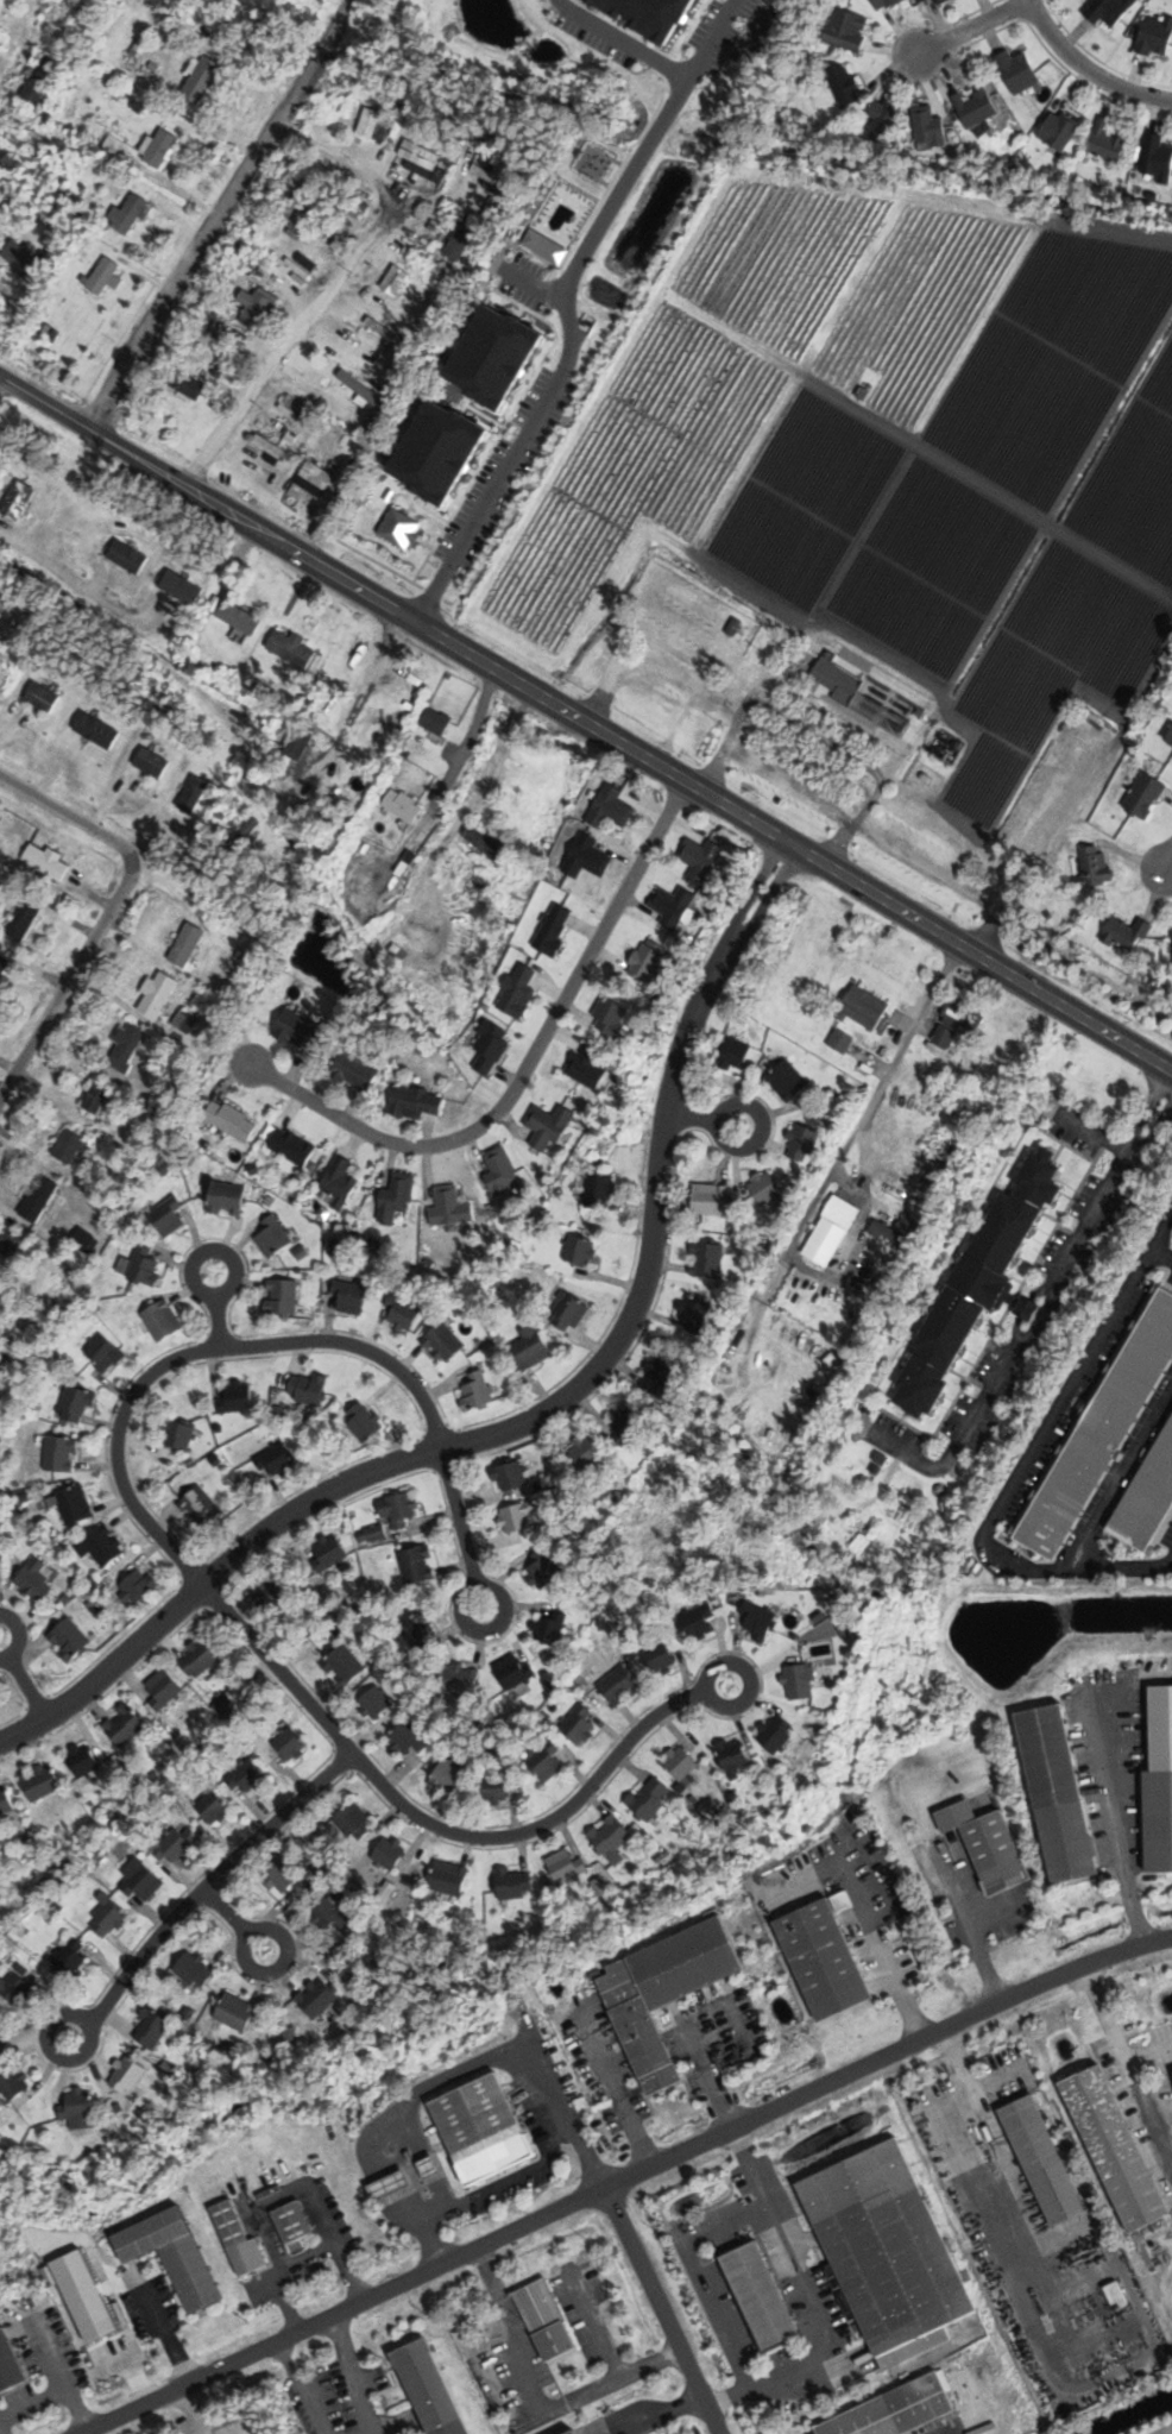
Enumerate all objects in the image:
building: (924, 1)
building: (939, 1)
parking lot: (746, 4)
building: (883, 4)
building: (1109, 11)
building: (637, 14)
building: (699, 26)
parking lot: (714, 26)
road: (975, 26)
building: (846, 30)
building: (1155, 36)
road: (615, 38)
building: (2, 39)
parking lot: (590, 39)
road: (17, 51)
road: (1089, 68)
building: (1017, 70)
building: (39, 80)
building: (203, 81)
building: (844, 84)
building: (975, 107)
building: (882, 121)
building: (368, 122)
building: (928, 128)
building: (1058, 130)
building: (1107, 141)
building: (159, 147)
building: (420, 155)
building: (1157, 159)
building: (561, 206)
building: (127, 214)
road: (218, 214)
building: (303, 218)
building: (459, 243)
building: (24, 262)
building: (103, 277)
building: (395, 281)
parking lot: (527, 281)
road: (324, 289)
road: (559, 306)
building: (259, 309)
building: (383, 332)
building: (187, 385)
building: (361, 391)
building: (440, 416)
building: (270, 447)
parking lot: (496, 472)
building: (316, 476)
building: (18, 502)
building: (127, 555)
building: (181, 586)
building: (2, 591)
building: (238, 616)
building: (291, 647)
building: (664, 666)
building: (853, 681)
building: (42, 697)
road: (600, 699)
road: (585, 724)
building: (434, 727)
parking lot: (779, 727)
building: (96, 729)
road: (819, 732)
building: (1170, 736)
building: (298, 743)
road: (499, 744)
building: (151, 762)
building: (193, 793)
building: (1143, 794)
building: (402, 805)
building: (610, 807)
road: (68, 822)
building: (484, 839)
road: (878, 839)
building: (586, 856)
building: (700, 858)
building: (44, 860)
building: (1094, 866)
road: (1170, 870)
building: (672, 906)
building: (24, 920)
building: (553, 929)
building: (1127, 933)
building: (187, 944)
building: (647, 960)
building: (2, 963)
road: (68, 979)
building: (517, 990)
building: (157, 994)
building: (865, 1006)
building: (610, 1015)
building: (957, 1021)
building: (297, 1030)
building: (840, 1040)
building: (125, 1046)
building: (489, 1046)
building: (735, 1054)
building: (586, 1067)
building: (354, 1071)
road: (528, 1073)
building: (787, 1080)
building: (97, 1096)
building: (415, 1102)
road: (702, 1118)
building: (231, 1120)
building: (549, 1127)
building: (801, 1141)
building: (70, 1146)
building: (290, 1146)
building: (500, 1174)
building: (340, 1181)
building: (765, 1187)
building: (599, 1189)
building: (225, 1197)
building: (710, 1199)
building: (40, 1200)
building: (397, 1201)
building: (449, 1207)
building: (168, 1216)
building: (831, 1231)
road: (1161, 1231)
building: (896, 1232)
building: (272, 1235)
building: (83, 1240)
building: (11, 1246)
building: (579, 1250)
building: (706, 1259)
building: (144, 1266)
building: (964, 1281)
road: (997, 1283)
building: (282, 1296)
building: (348, 1297)
parking lot: (1012, 1297)
road: (214, 1310)
building: (567, 1312)
building: (402, 1313)
building: (693, 1313)
building: (162, 1320)
building: (443, 1342)
building: (530, 1347)
road: (195, 1352)
building: (103, 1353)
building: (657, 1377)
building: (308, 1388)
building: (475, 1391)
building: (237, 1396)
building: (76, 1404)
road: (540, 1414)
building: (363, 1421)
building: (626, 1423)
building: (1103, 1430)
building: (179, 1435)
parking lot: (1097, 1441)
building: (585, 1449)
building: (59, 1453)
building: (275, 1460)
road: (1023, 1466)
building: (509, 1476)
building: (1149, 1498)
building: (75, 1504)
building: (200, 1505)
building: (399, 1512)
building: (516, 1516)
road: (459, 1528)
building: (102, 1546)
building: (327, 1554)
building: (415, 1564)
building: (543, 1568)
building: (36, 1579)
building: (137, 1586)
building: (272, 1592)
building: (697, 1621)
building: (758, 1621)
building: (549, 1627)
building: (418, 1635)
building: (69, 1640)
building: (659, 1656)
building: (200, 1660)
building: (346, 1666)
building: (513, 1672)
building: (799, 1677)
building: (461, 1679)
road: (23, 1680)
building: (620, 1687)
building: (163, 1690)
building: (376, 1703)
building: (125, 1725)
building: (579, 1725)
building: (775, 1734)
building: (407, 1740)
building: (290, 1744)
building: (732, 1755)
building: (81, 1759)
building: (544, 1763)
building: (680, 1763)
building: (248, 1776)
building: (447, 1778)
building: (39, 1781)
building: (494, 1788)
building: (1053, 1792)
building: (650, 1798)
building: (5, 1800)
building: (212, 1807)
building: (1155, 1819)
building: (354, 1823)
road: (437, 1829)
road: (1115, 1829)
building: (610, 1838)
building: (990, 1843)
building: (176, 1844)
building: (391, 1853)
building: (565, 1866)
building: (284, 1878)
building: (449, 1879)
building: (140, 1881)
building: (515, 1883)
road: (201, 1888)
building: (332, 1911)
building: (107, 1916)
road: (233, 1918)
road: (968, 1929)
building: (825, 1957)
building: (70, 1958)
building: (194, 1970)
building: (14, 1987)
building: (664, 1992)
building: (316, 1998)
building: (235, 2012)
building: (152, 2030)
building: (1, 2038)
road: (1126, 2062)
road: (549, 2073)
building: (126, 2075)
building: (13, 2082)
parking lot: (1142, 2096)
building: (78, 2107)
gas station: (478, 2128)
building: (481, 2130)
building: (1119, 2147)
building: (1044, 2161)
road: (624, 2180)
building: (391, 2184)
building: (229, 2225)
building: (292, 2225)
road: (342, 2251)
building: (888, 2252)
building: (172, 2256)
building: (86, 2294)
building: (761, 2296)
road: (660, 2312)
building: (544, 2321)
road: (170, 2338)
building: (10, 2364)
building: (434, 2389)
building: (896, 2409)
road: (659, 2411)
building: (575, 2432)

